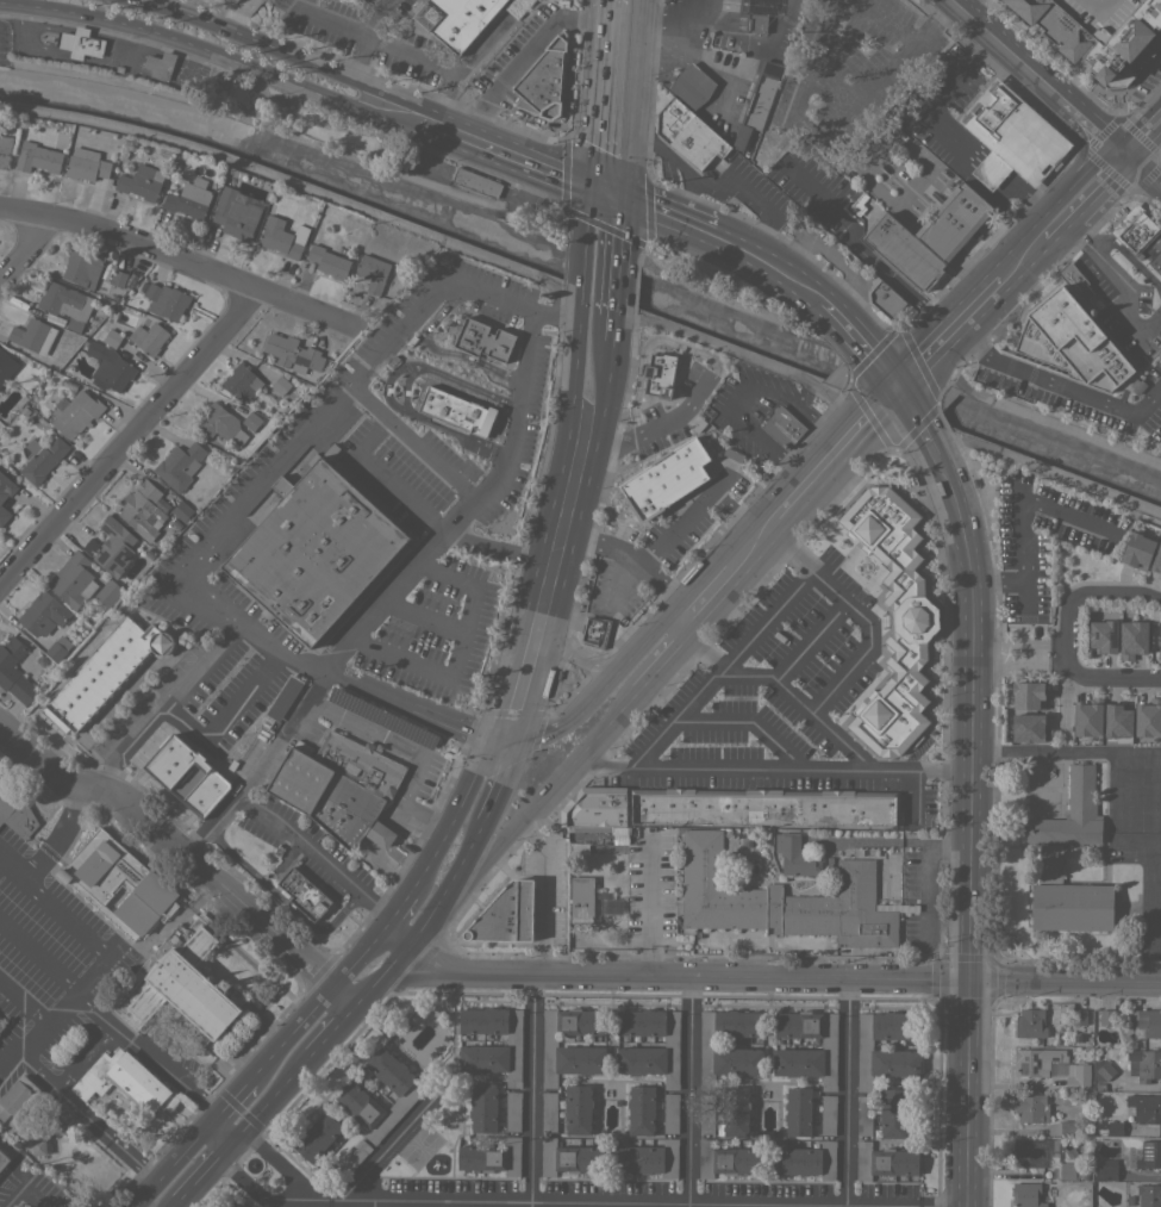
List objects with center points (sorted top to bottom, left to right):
building: (235, 0)
road: (166, 4)
road: (300, 6)
building: (1151, 8)
building: (1012, 10)
building: (456, 19)
building: (756, 23)
building: (1049, 36)
road: (364, 37)
road: (819, 38)
building: (81, 43)
road: (380, 43)
building: (1117, 44)
road: (274, 48)
road: (219, 55)
road: (523, 61)
road: (638, 63)
building: (161, 64)
road: (463, 64)
road: (1037, 75)
building: (1086, 77)
building: (544, 81)
building: (691, 86)
road: (943, 89)
road: (598, 94)
building: (757, 100)
building: (688, 133)
road: (1143, 135)
building: (1012, 137)
road: (974, 149)
building: (5, 150)
road: (503, 154)
road: (666, 154)
building: (37, 157)
building: (86, 164)
road: (632, 164)
road: (994, 167)
road: (1143, 172)
building: (142, 182)
building: (476, 182)
road: (1097, 183)
traffic signals: (592, 189)
road: (611, 195)
building: (974, 197)
building: (189, 199)
road: (750, 199)
road: (1031, 199)
traffic signals: (630, 203)
road: (691, 204)
building: (236, 213)
road: (588, 214)
road: (668, 218)
building: (950, 225)
road: (1055, 225)
building: (1135, 229)
road: (626, 230)
building: (279, 237)
road: (27, 250)
building: (904, 253)
road: (828, 255)
road: (164, 257)
road: (1022, 260)
building: (329, 262)
road: (582, 263)
road: (766, 263)
building: (82, 267)
building: (373, 272)
building: (118, 278)
road: (891, 278)
road: (1121, 279)
road: (622, 280)
building: (1075, 282)
road: (491, 293)
building: (885, 299)
building: (166, 300)
building: (67, 305)
road: (619, 310)
road: (556, 315)
road: (531, 321)
building: (32, 335)
road: (949, 335)
building: (149, 337)
building: (112, 338)
building: (482, 340)
road: (861, 343)
building: (1069, 343)
road: (436, 350)
building: (292, 351)
building: (6, 366)
building: (108, 367)
building: (661, 373)
building: (656, 377)
building: (242, 381)
road: (1056, 384)
building: (280, 385)
road: (387, 386)
road: (463, 386)
traffic signals: (898, 388)
road: (404, 390)
road: (743, 396)
road: (697, 399)
building: (456, 411)
building: (75, 412)
road: (380, 413)
road: (918, 416)
building: (250, 421)
building: (220, 423)
road: (383, 424)
road: (507, 424)
building: (782, 427)
road: (310, 428)
road: (452, 434)
road: (127, 436)
road: (369, 442)
road: (836, 452)
building: (42, 458)
building: (179, 465)
building: (686, 465)
road: (438, 466)
road: (1043, 469)
building: (6, 487)
road: (395, 489)
road: (469, 496)
building: (141, 509)
building: (181, 511)
building: (4, 515)
road: (547, 515)
road: (960, 515)
road: (679, 527)
road: (439, 528)
rooftop solar panel: (106, 529)
road: (1023, 530)
road: (576, 531)
road: (750, 542)
building: (113, 547)
road: (489, 547)
road: (788, 548)
building: (1136, 550)
building: (317, 553)
rooftop solar panel: (102, 555)
building: (1156, 559)
road: (636, 564)
road: (812, 571)
road: (447, 575)
building: (1160, 578)
building: (70, 579)
road: (620, 581)
road: (392, 590)
building: (108, 592)
road: (1087, 592)
road: (700, 595)
building: (43, 614)
road: (233, 617)
road: (422, 617)
building: (893, 620)
building: (594, 632)
road: (235, 634)
road: (461, 634)
rooftop solar panel: (1093, 636)
building: (1103, 636)
rooftop solar panel: (1110, 637)
building: (1131, 637)
road: (810, 641)
road: (700, 643)
road: (650, 645)
building: (1159, 647)
building: (57, 648)
road: (1018, 654)
road: (275, 655)
road: (656, 658)
road: (395, 661)
road: (580, 661)
building: (14, 671)
building: (104, 673)
road: (1106, 678)
road: (772, 679)
building: (1026, 695)
building: (283, 697)
road: (389, 698)
road: (169, 699)
road: (243, 704)
road: (578, 714)
rooftop solar panel: (381, 716)
building: (383, 717)
building: (1087, 721)
building: (1117, 721)
building: (1147, 721)
road: (744, 722)
building: (1026, 728)
road: (362, 729)
traffic signals: (486, 738)
road: (503, 740)
traffic signals: (520, 744)
road: (1066, 749)
road: (200, 751)
road: (212, 751)
building: (360, 764)
road: (261, 769)
road: (773, 770)
road: (100, 772)
road: (414, 776)
building: (186, 779)
road: (970, 783)
road: (501, 784)
road: (548, 792)
building: (330, 800)
road: (242, 803)
building: (595, 807)
building: (763, 807)
road: (397, 808)
building: (15, 810)
building: (1072, 813)
road: (426, 814)
road: (455, 819)
building: (587, 829)
road: (56, 838)
road: (173, 842)
road: (895, 842)
road: (305, 846)
building: (576, 847)
road: (468, 853)
building: (795, 856)
road: (281, 861)
road: (392, 870)
building: (119, 884)
road: (929, 891)
building: (304, 892)
road: (545, 892)
building: (582, 898)
building: (1067, 898)
building: (784, 900)
road: (283, 901)
road: (195, 902)
road: (374, 907)
road: (651, 908)
road: (1150, 908)
road: (224, 910)
road: (194, 912)
road: (397, 912)
building: (506, 915)
road: (429, 916)
road: (211, 923)
road: (208, 925)
road: (393, 940)
road: (85, 941)
road: (38, 957)
road: (357, 958)
road: (263, 972)
parking lot: (51, 973)
road: (377, 977)
road: (681, 977)
traffic signals: (969, 981)
road: (1065, 982)
building: (182, 983)
building: (226, 984)
road: (343, 994)
road: (24, 1006)
building: (1079, 1016)
building: (1106, 1018)
building: (1146, 1022)
building: (1030, 1024)
road: (270, 1026)
road: (231, 1028)
road: (330, 1029)
building: (1076, 1038)
road: (246, 1041)
road: (37, 1043)
building: (718, 1047)
building: (648, 1050)
building: (886, 1051)
road: (85, 1058)
building: (489, 1058)
building: (574, 1059)
building: (804, 1062)
road: (155, 1064)
building: (1144, 1064)
building: (1050, 1068)
building: (1103, 1070)
road: (244, 1080)
building: (125, 1082)
building: (1099, 1087)
road: (529, 1091)
road: (688, 1093)
road: (845, 1093)
building: (351, 1094)
road: (967, 1094)
road: (269, 1096)
building: (17, 1097)
building: (1031, 1107)
building: (1144, 1107)
building: (483, 1108)
building: (578, 1108)
building: (641, 1109)
building: (735, 1109)
building: (513, 1110)
building: (549, 1110)
building: (798, 1110)
building: (670, 1112)
building: (892, 1112)
building: (828, 1114)
building: (863, 1114)
road: (90, 1116)
building: (706, 1119)
building: (1068, 1128)
building: (1115, 1128)
building: (317, 1136)
rooftop solar panel: (1028, 1141)
rooftop solar panel: (1043, 1149)
rooftop solar panel: (1147, 1151)
road: (386, 1152)
building: (1031, 1152)
building: (1149, 1155)
building: (352, 1157)
building: (492, 1157)
building: (4, 1158)
building: (568, 1158)
building: (648, 1158)
building: (726, 1159)
building: (805, 1161)
building: (884, 1161)
road: (281, 1164)
rooftop solar panel: (1024, 1166)
road: (202, 1168)
building: (1106, 1169)
building: (1067, 1170)
road: (23, 1188)
parking lot: (30, 1190)
road: (144, 1192)
building: (1026, 1194)
building: (1149, 1195)
road: (256, 1197)
road: (170, 1202)
road: (372, 1205)
road: (467, 1205)

